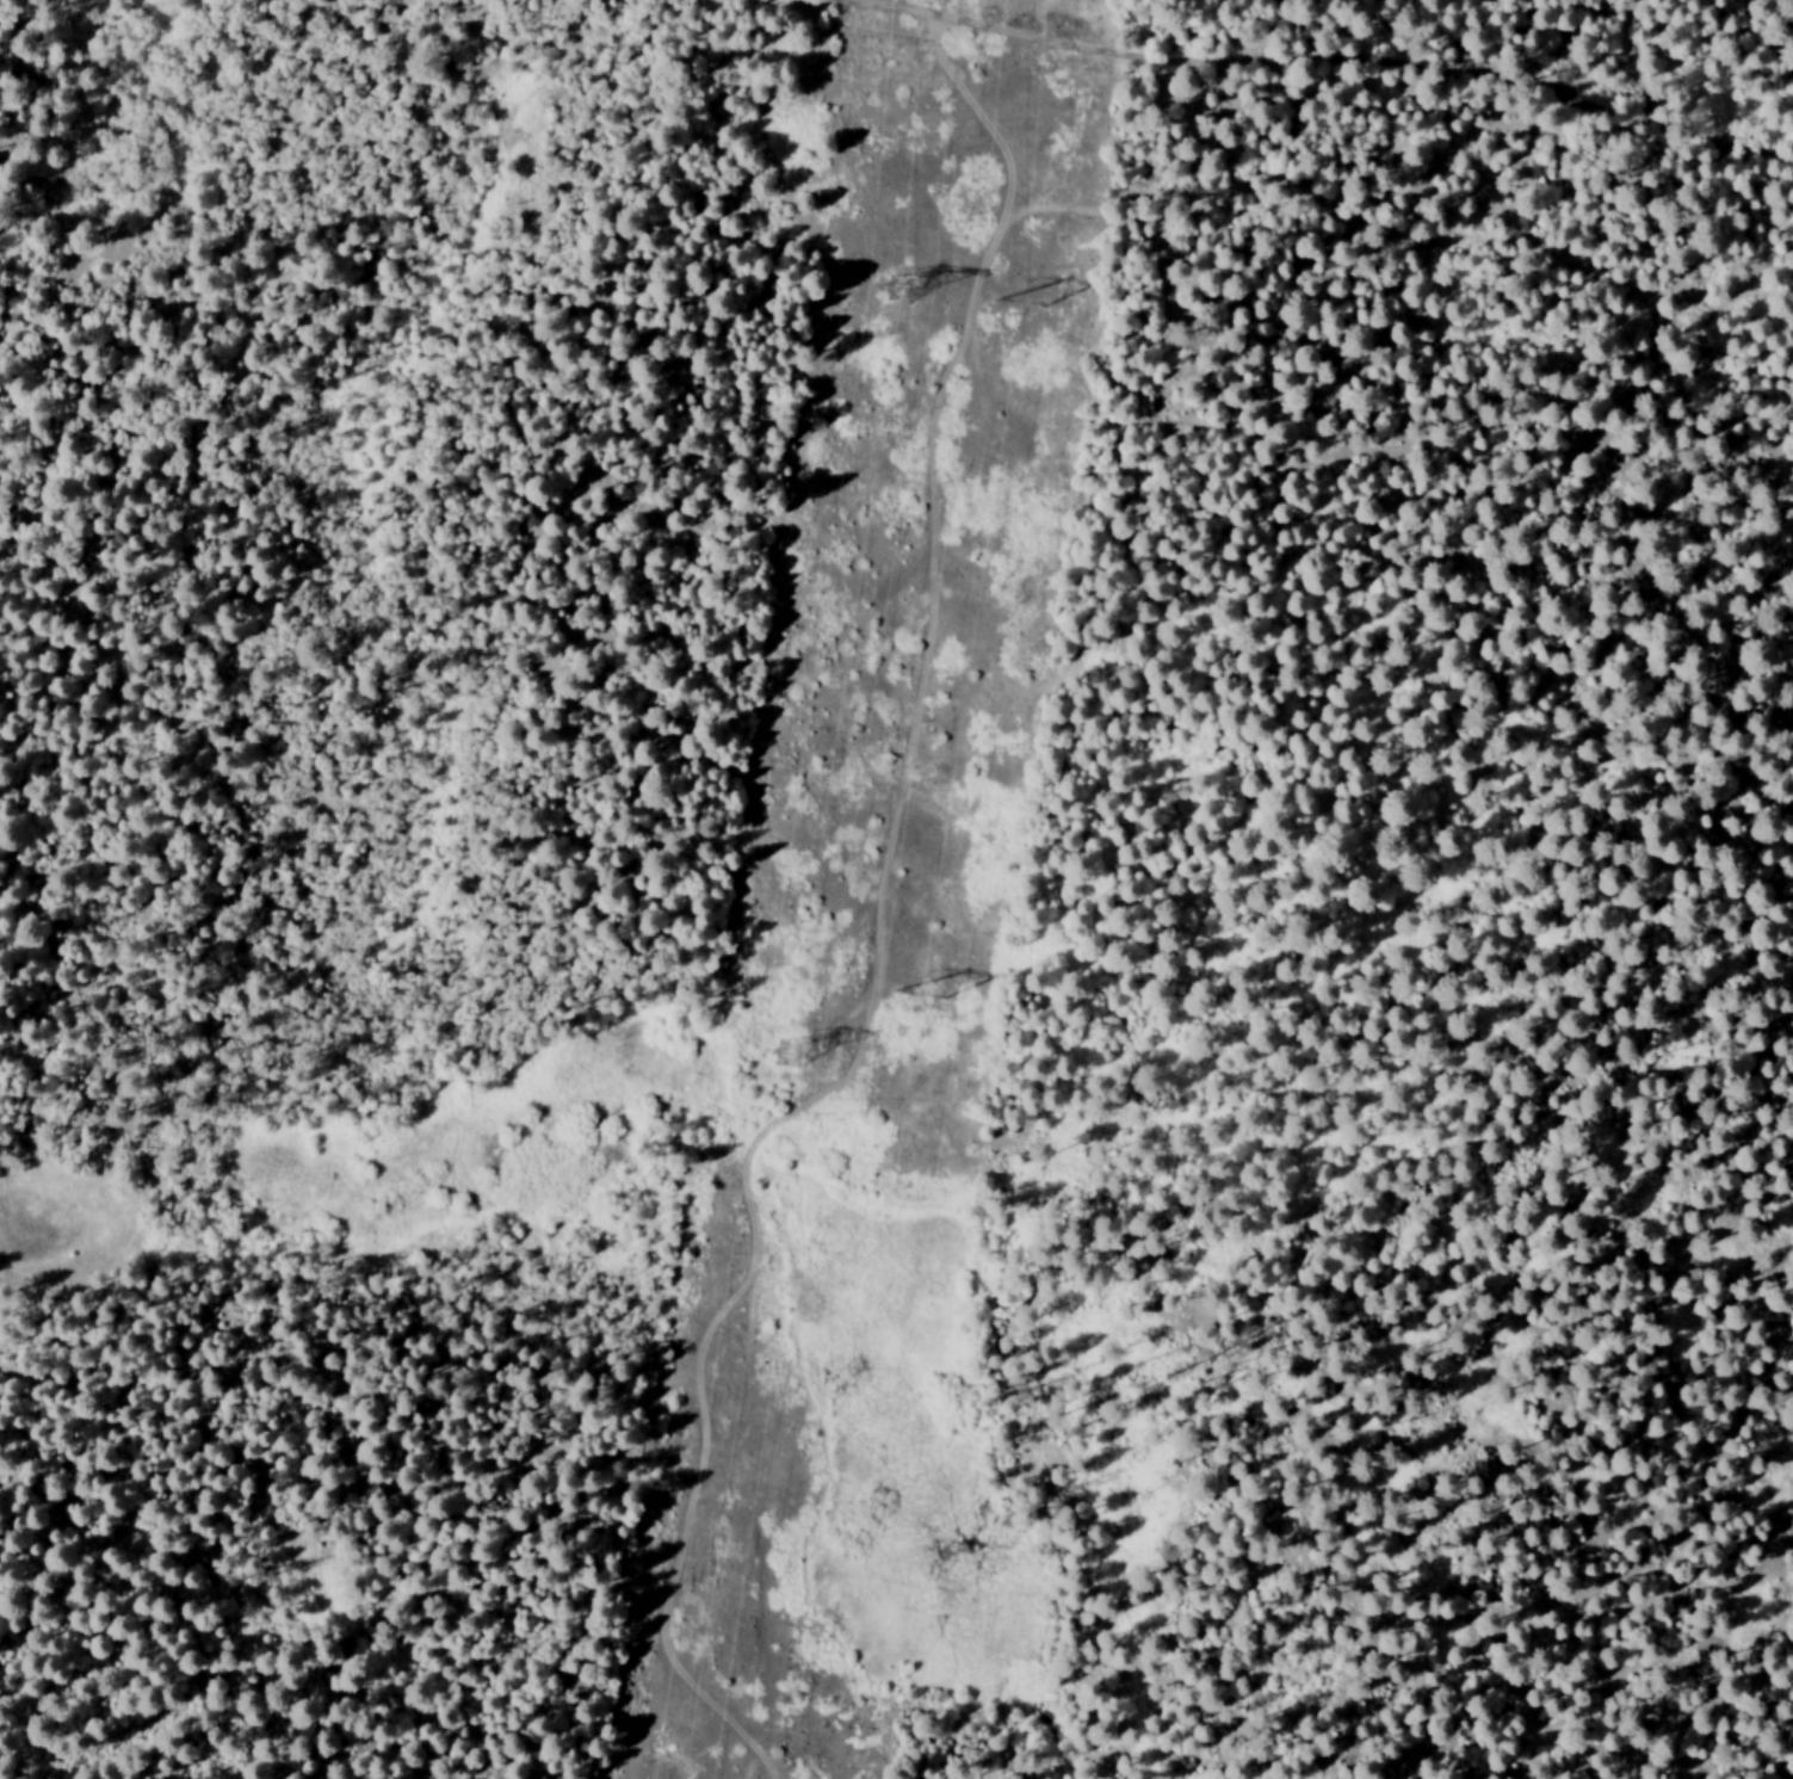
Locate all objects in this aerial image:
road: (908, 45)
power tower: (905, 273)
power tower: (1022, 297)
power tower: (913, 995)
power tower: (779, 1038)

